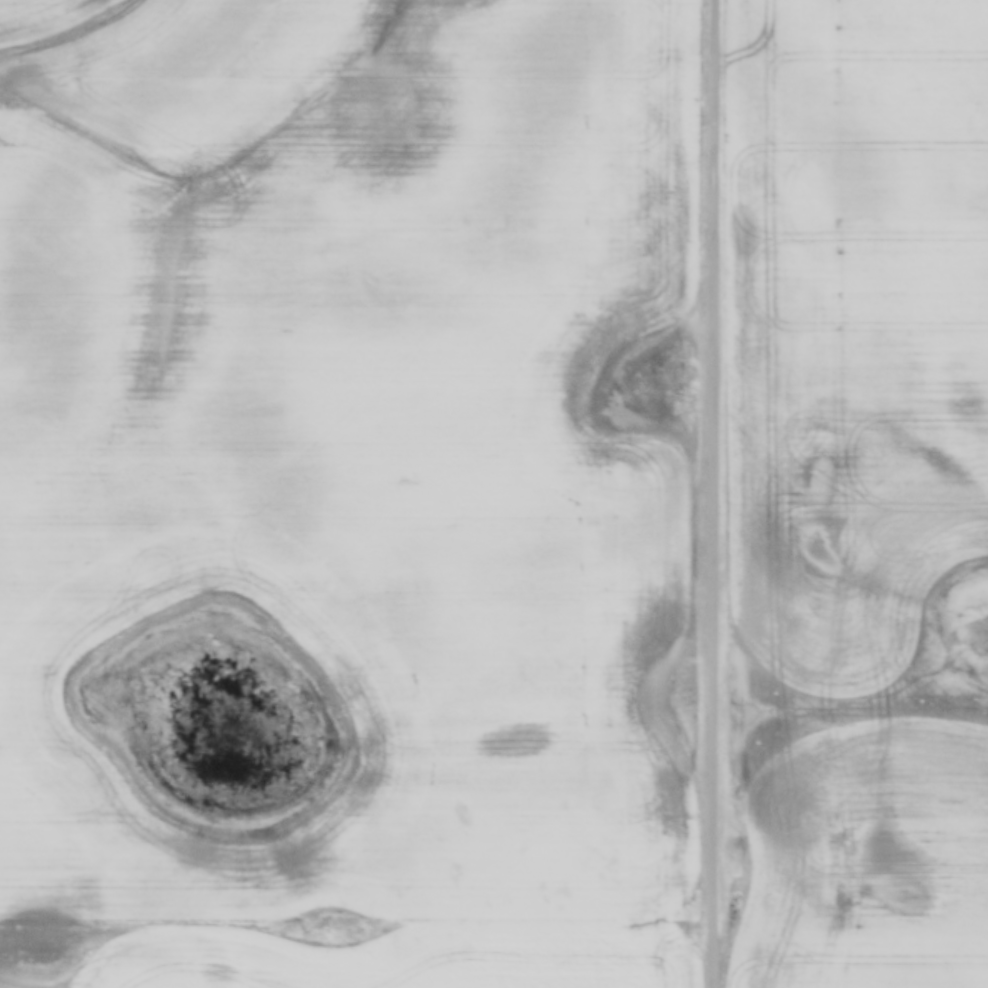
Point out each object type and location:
road: (710, 494)

